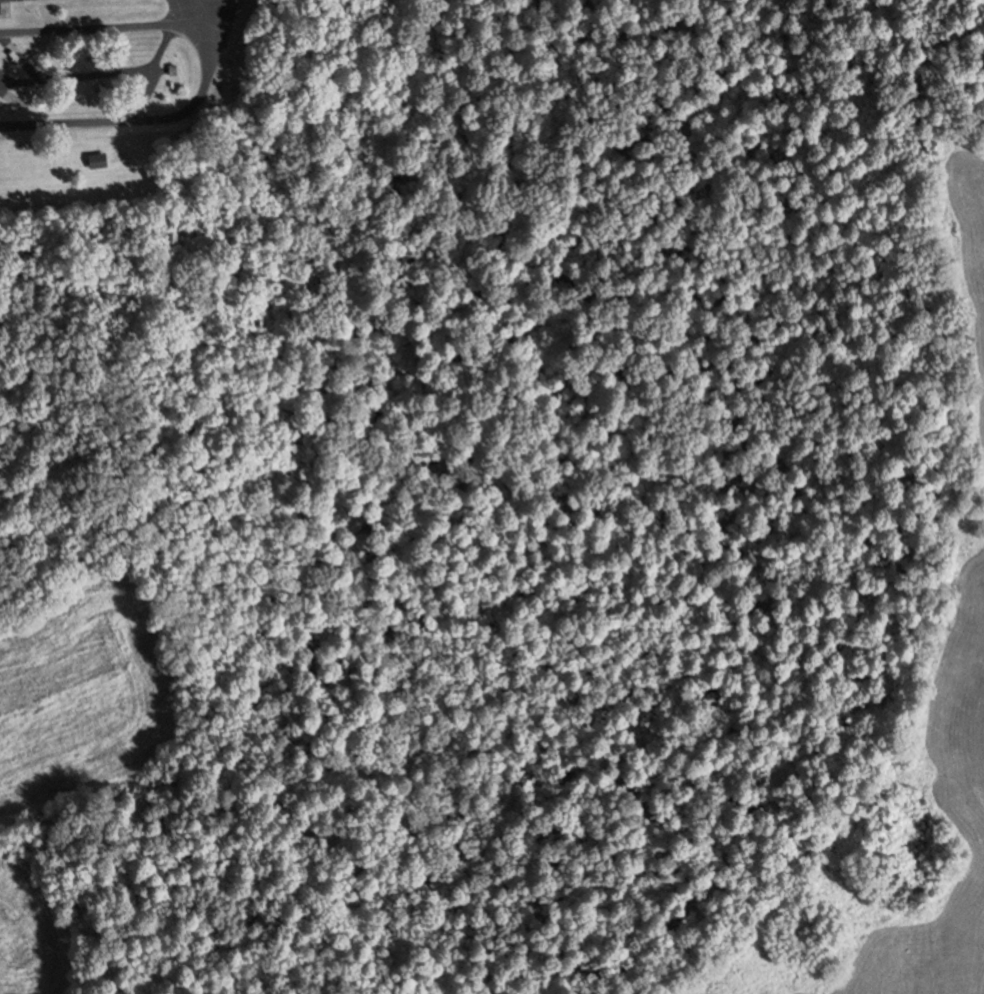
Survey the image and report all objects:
road: (194, 10)
road: (220, 13)
road: (101, 28)
road: (150, 73)
road: (76, 78)
park: (450, 90)
road: (142, 119)
road: (869, 820)

